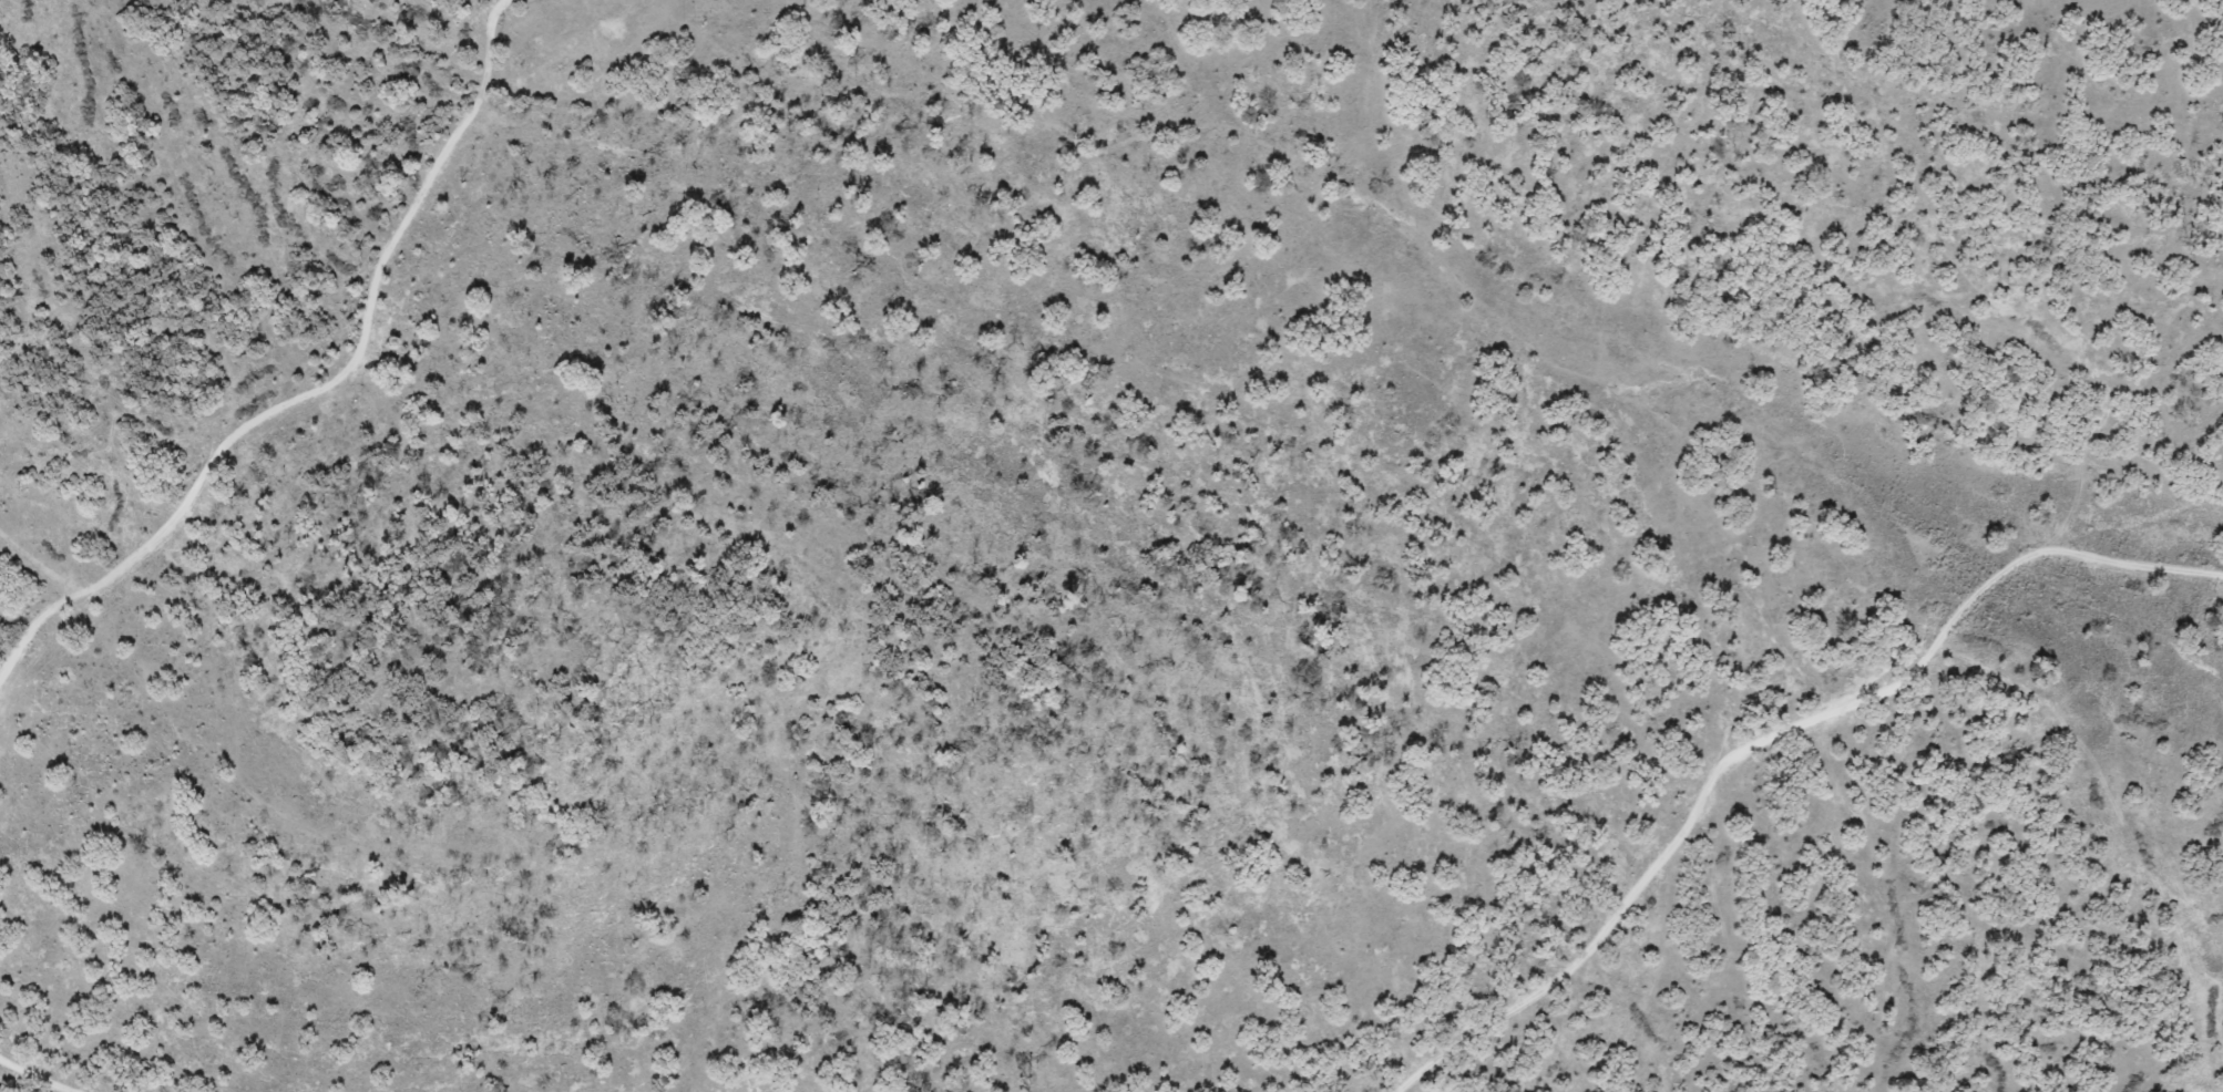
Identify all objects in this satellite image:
road: (320, 388)
road: (1847, 707)
road: (1465, 1044)
road: (47, 1069)

